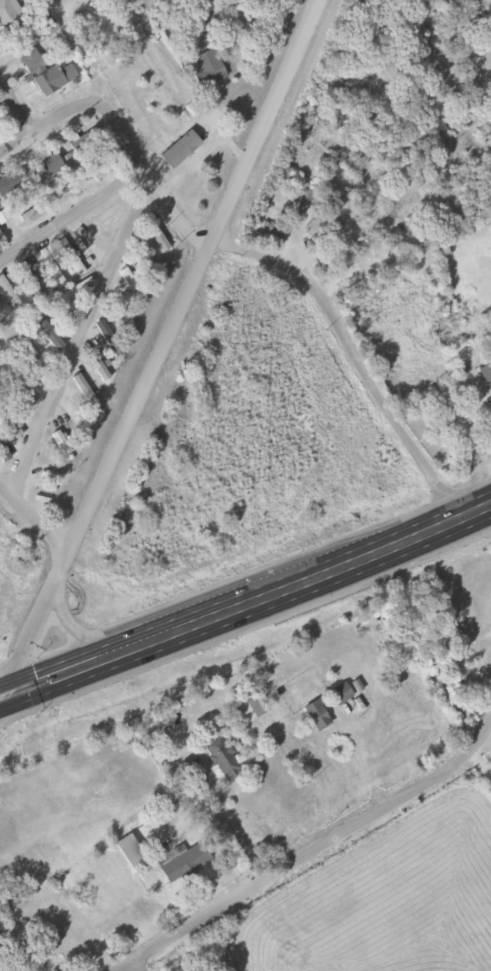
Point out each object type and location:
building: (9, 15)
building: (48, 28)
building: (207, 68)
building: (46, 73)
road: (17, 106)
road: (47, 126)
building: (180, 149)
building: (47, 165)
building: (99, 167)
building: (12, 183)
building: (302, 205)
road: (72, 213)
building: (102, 218)
building: (323, 220)
building: (156, 236)
building: (0, 237)
building: (71, 258)
building: (146, 265)
building: (50, 268)
road: (307, 275)
building: (132, 285)
building: (76, 288)
building: (121, 313)
building: (59, 315)
building: (0, 326)
building: (45, 330)
road: (78, 336)
building: (108, 339)
road: (163, 348)
building: (30, 360)
building: (97, 366)
building: (485, 371)
building: (17, 386)
building: (85, 392)
building: (73, 418)
building: (61, 442)
building: (3, 454)
road: (33, 515)
road: (247, 601)
road: (186, 604)
building: (449, 637)
building: (341, 694)
road: (1, 695)
traffic signals: (2, 695)
road: (1, 697)
building: (248, 708)
building: (220, 759)
road: (485, 764)
building: (132, 853)
road: (313, 853)
building: (182, 860)
building: (10, 894)
road: (137, 965)

